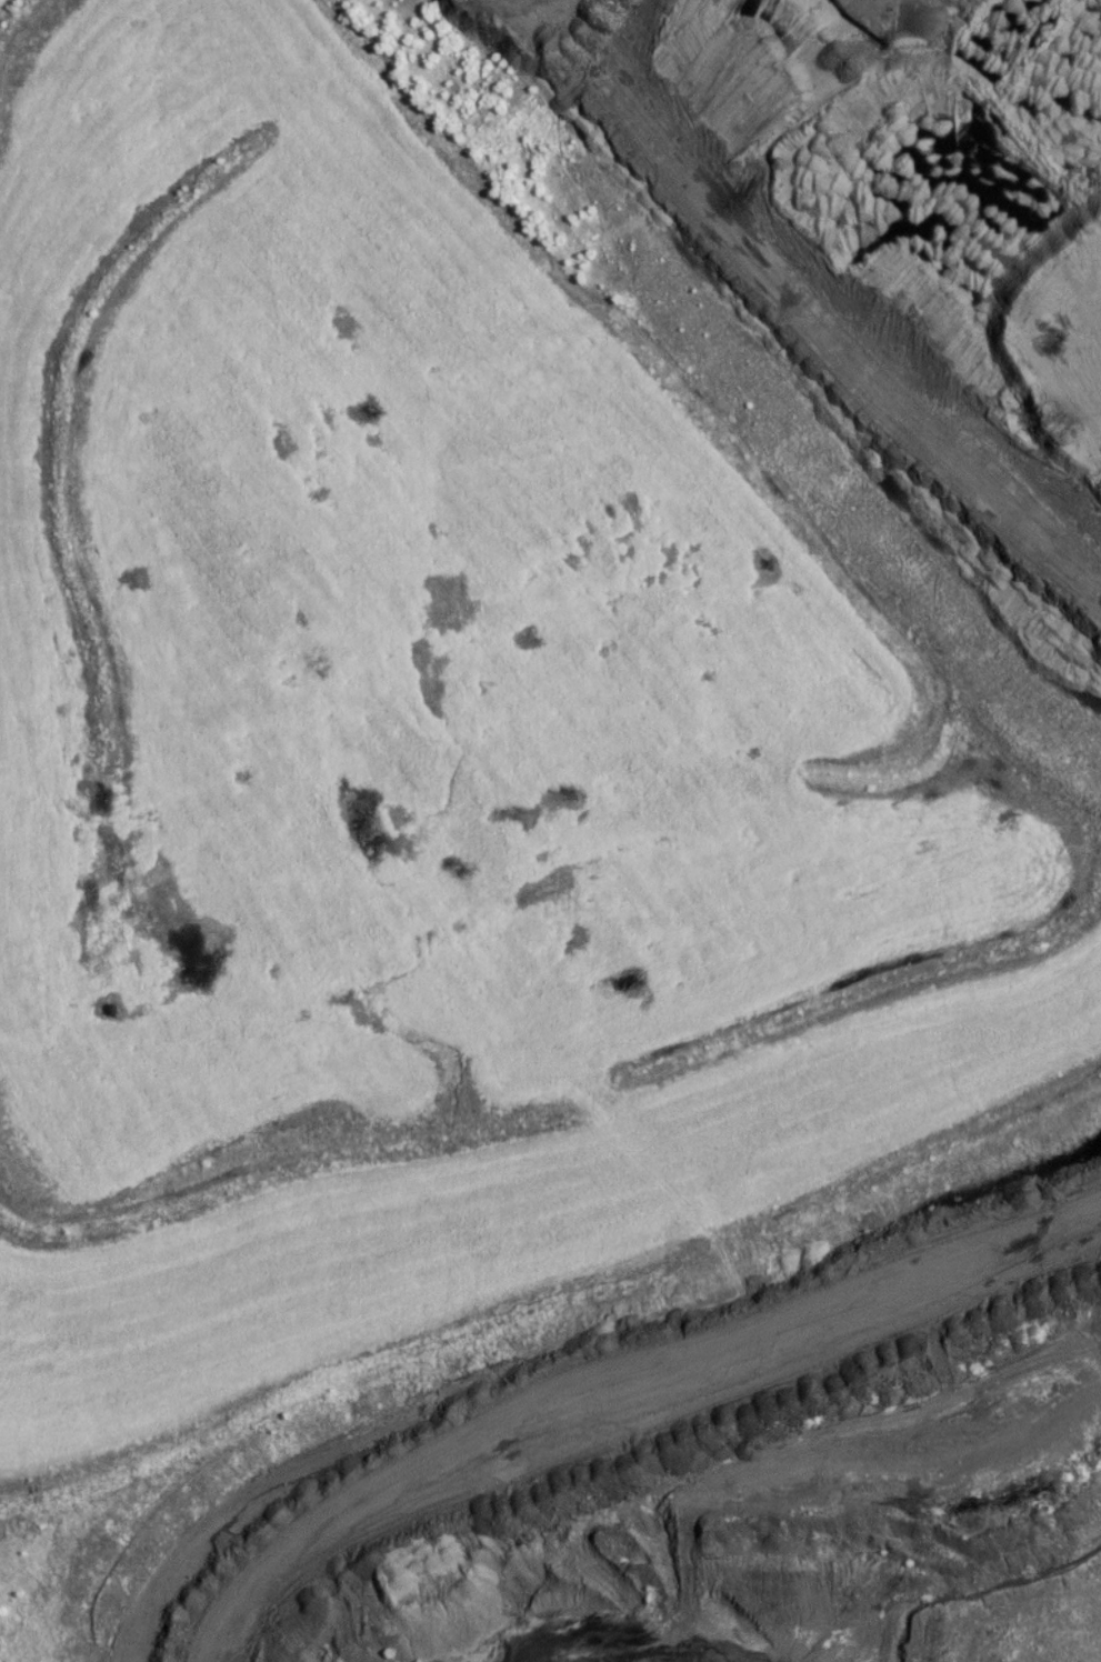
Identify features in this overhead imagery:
quarry: (526, 1231)
building: (767, 1552)

